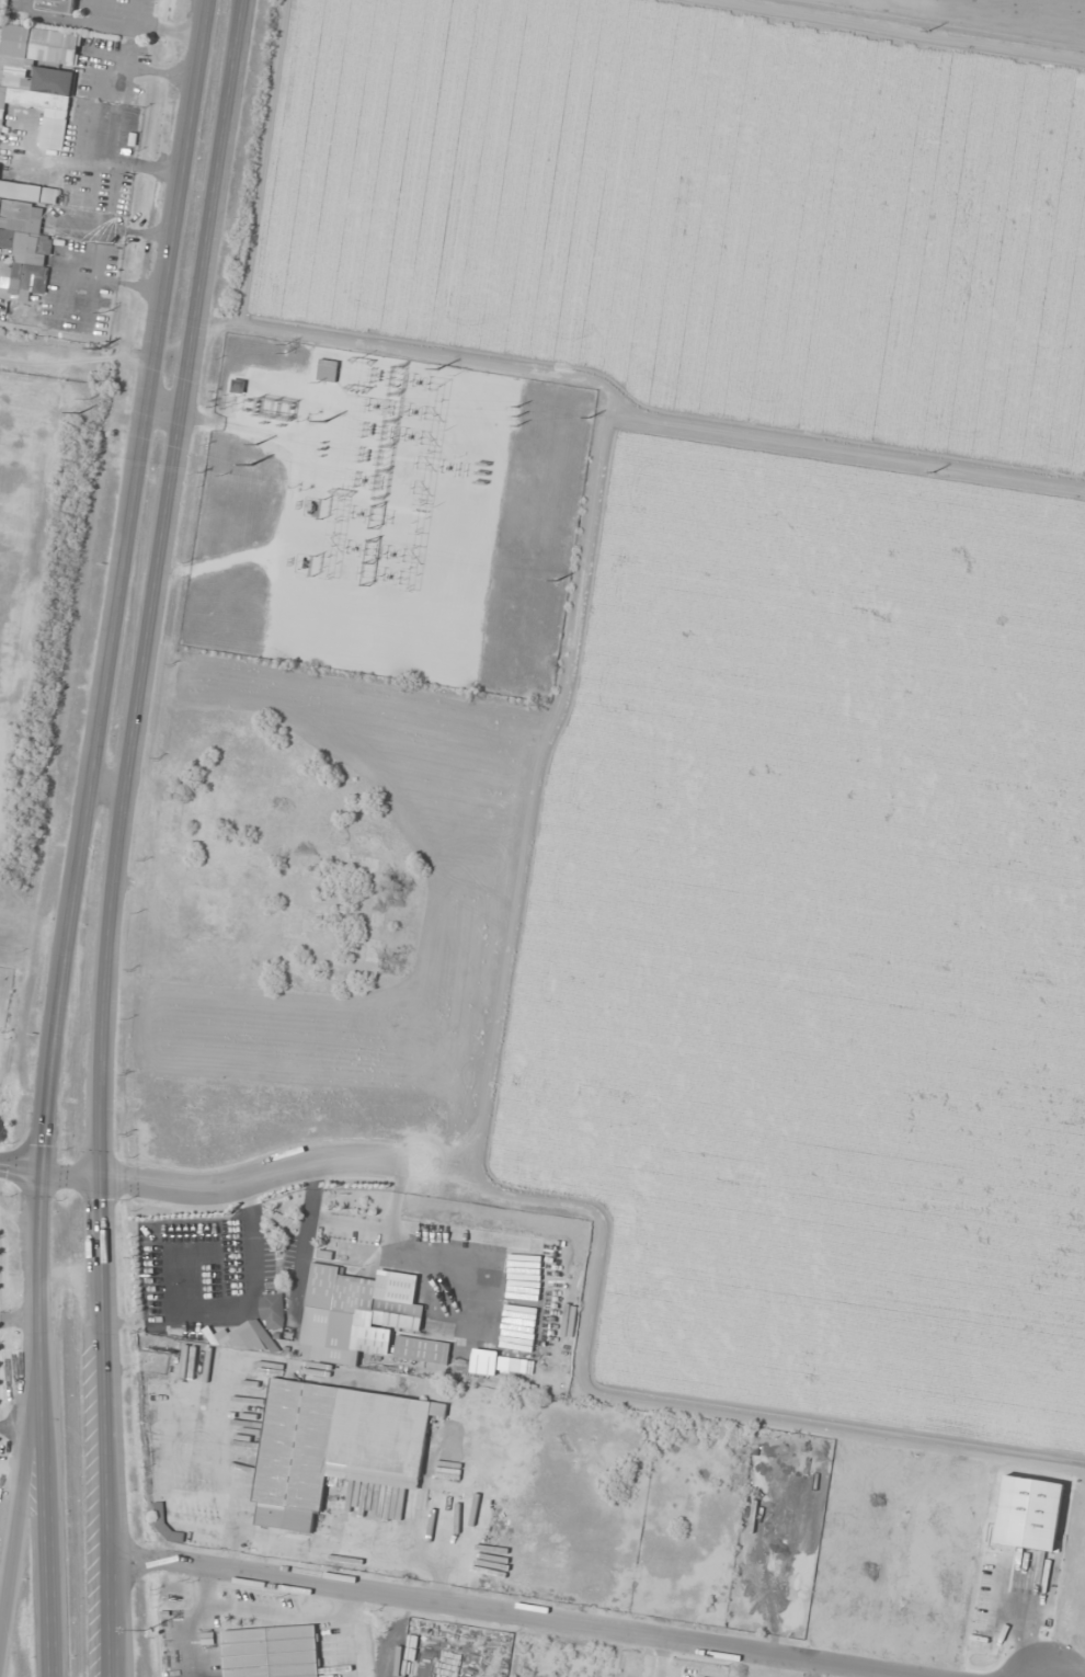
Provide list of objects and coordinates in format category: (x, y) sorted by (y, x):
building: (57, 5)
building: (39, 76)
building: (24, 237)
building: (327, 368)
road: (170, 411)
power substation: (388, 516)
road: (126, 586)
road: (116, 787)
road: (135, 787)
road: (22, 1172)
traffic signals: (45, 1175)
road: (73, 1176)
traffic signals: (103, 1178)
road: (247, 1182)
road: (45, 1263)
building: (273, 1311)
building: (345, 1315)
building: (422, 1351)
building: (333, 1446)
road: (22, 1498)
road: (48, 1514)
road: (511, 1615)
road: (113, 1629)
road: (117, 1629)
building: (210, 1638)
building: (271, 1652)

